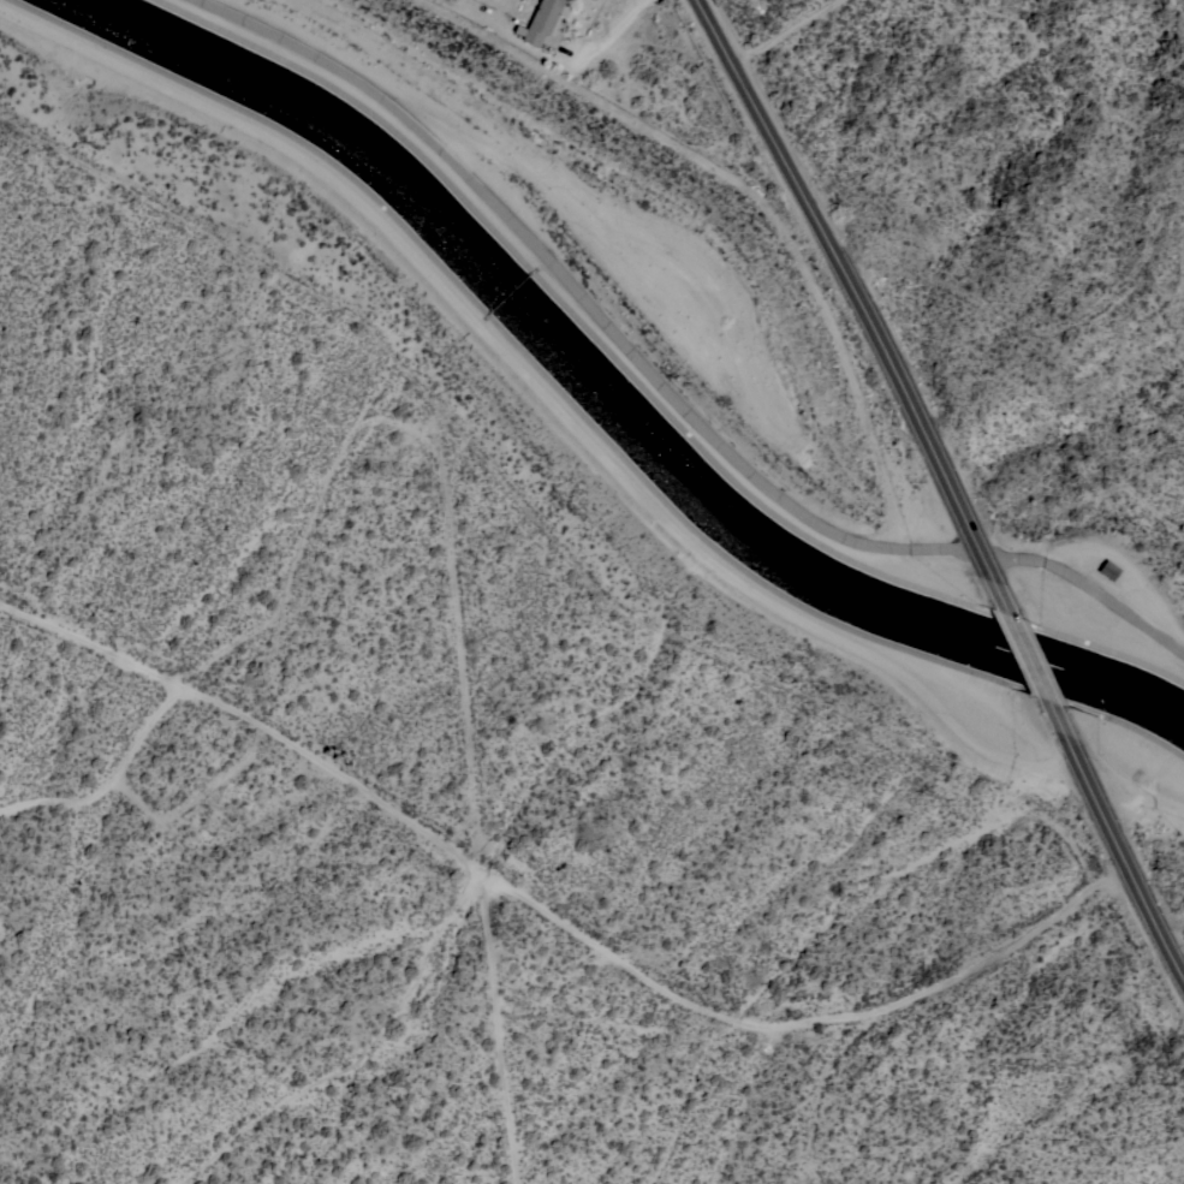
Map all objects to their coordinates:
building: (542, 19)
road: (548, 53)
road: (864, 302)
road: (1040, 678)
road: (1124, 857)
road: (667, 992)

